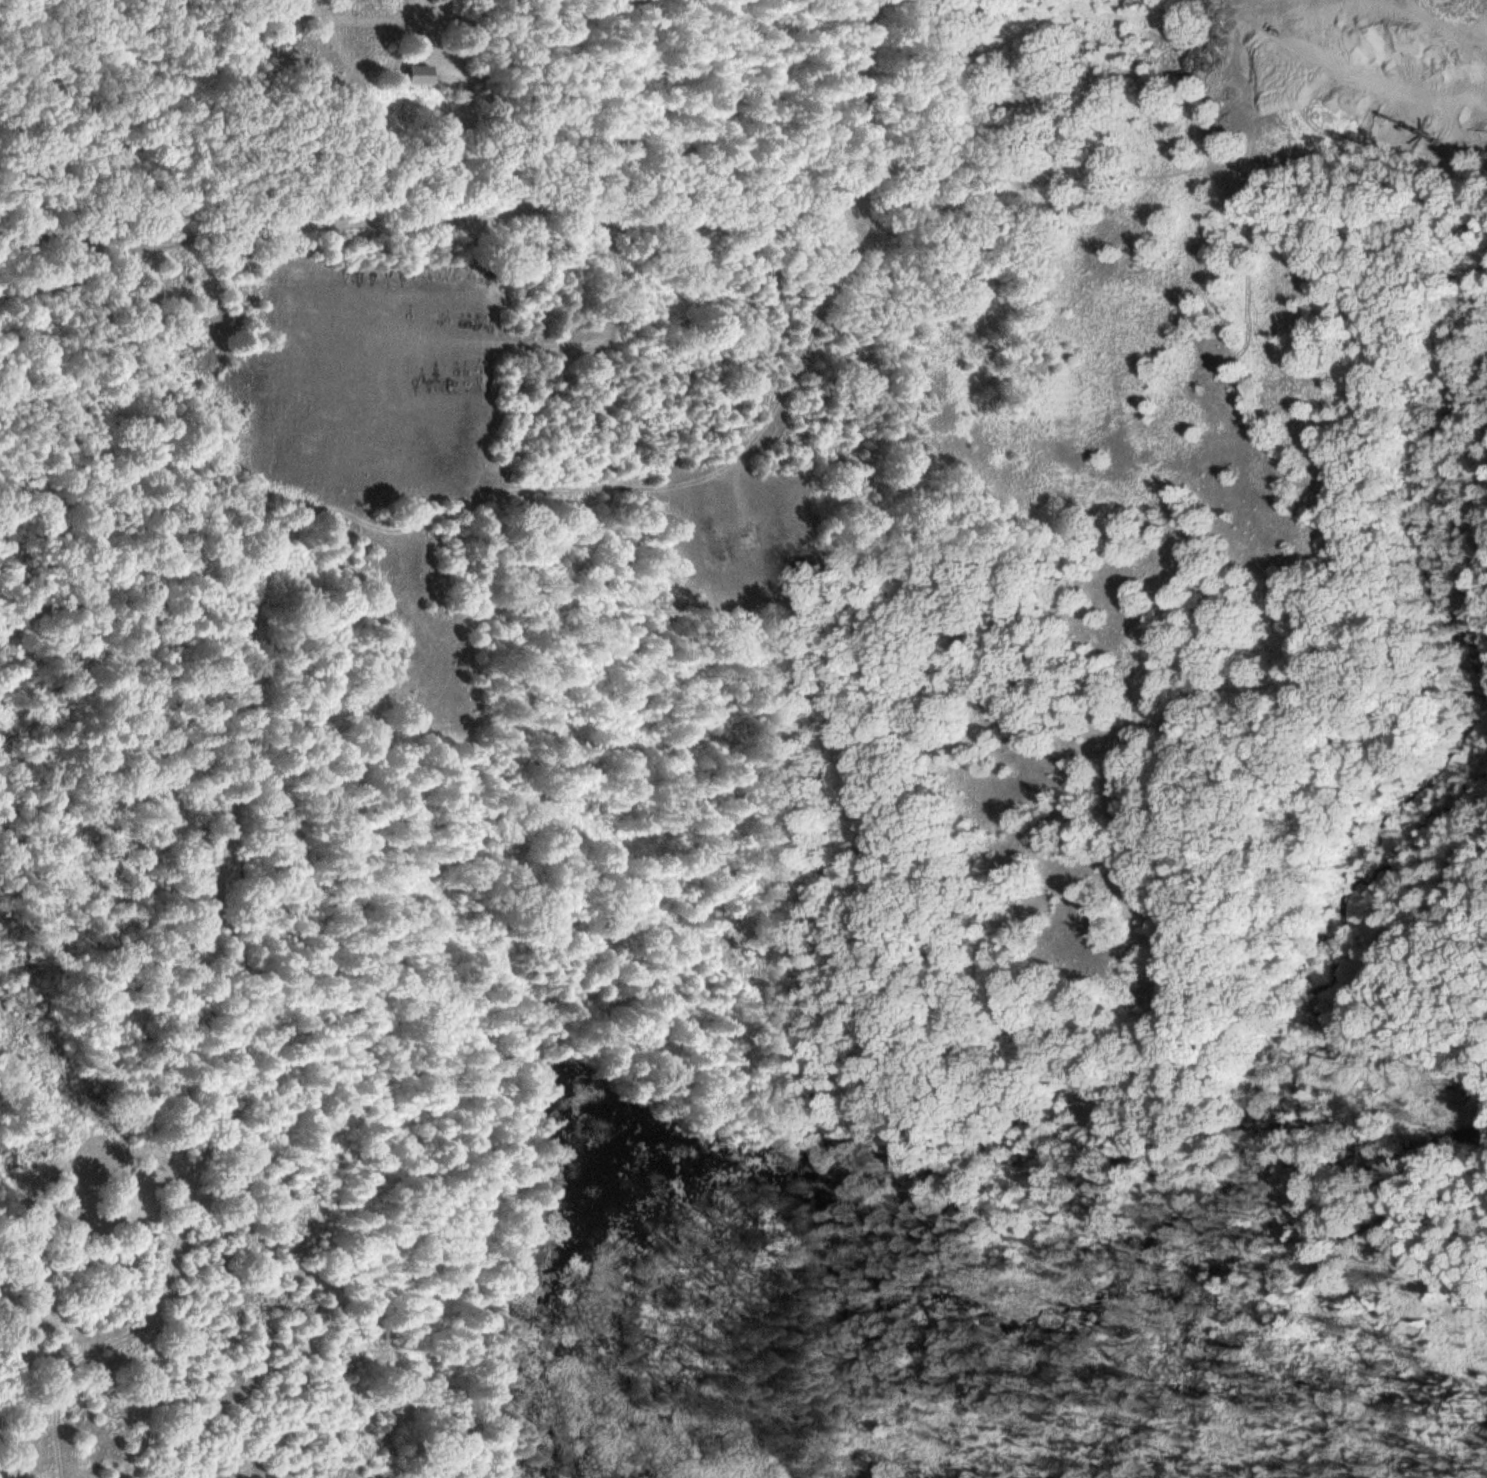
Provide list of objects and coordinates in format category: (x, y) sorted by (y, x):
building: (419, 76)
road: (743, 172)
road: (1251, 451)

